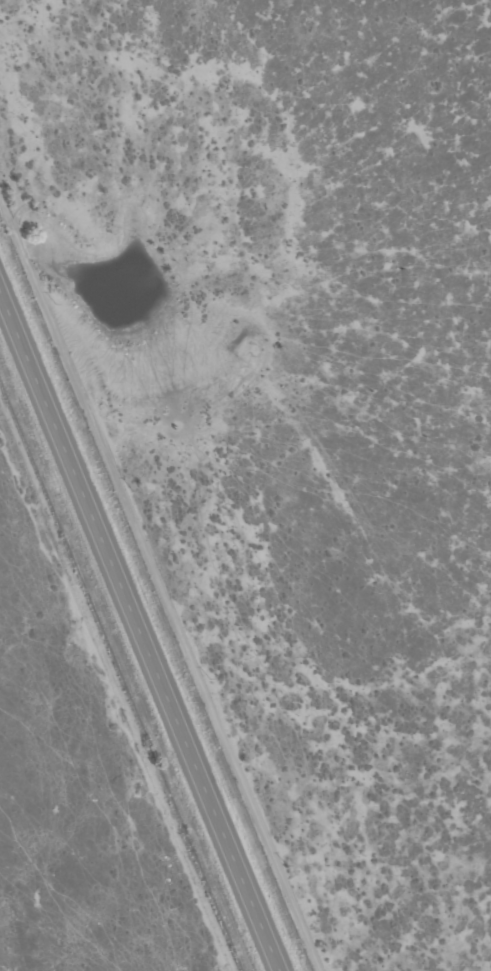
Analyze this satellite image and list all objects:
road: (162, 580)
road: (140, 630)
road: (116, 691)

